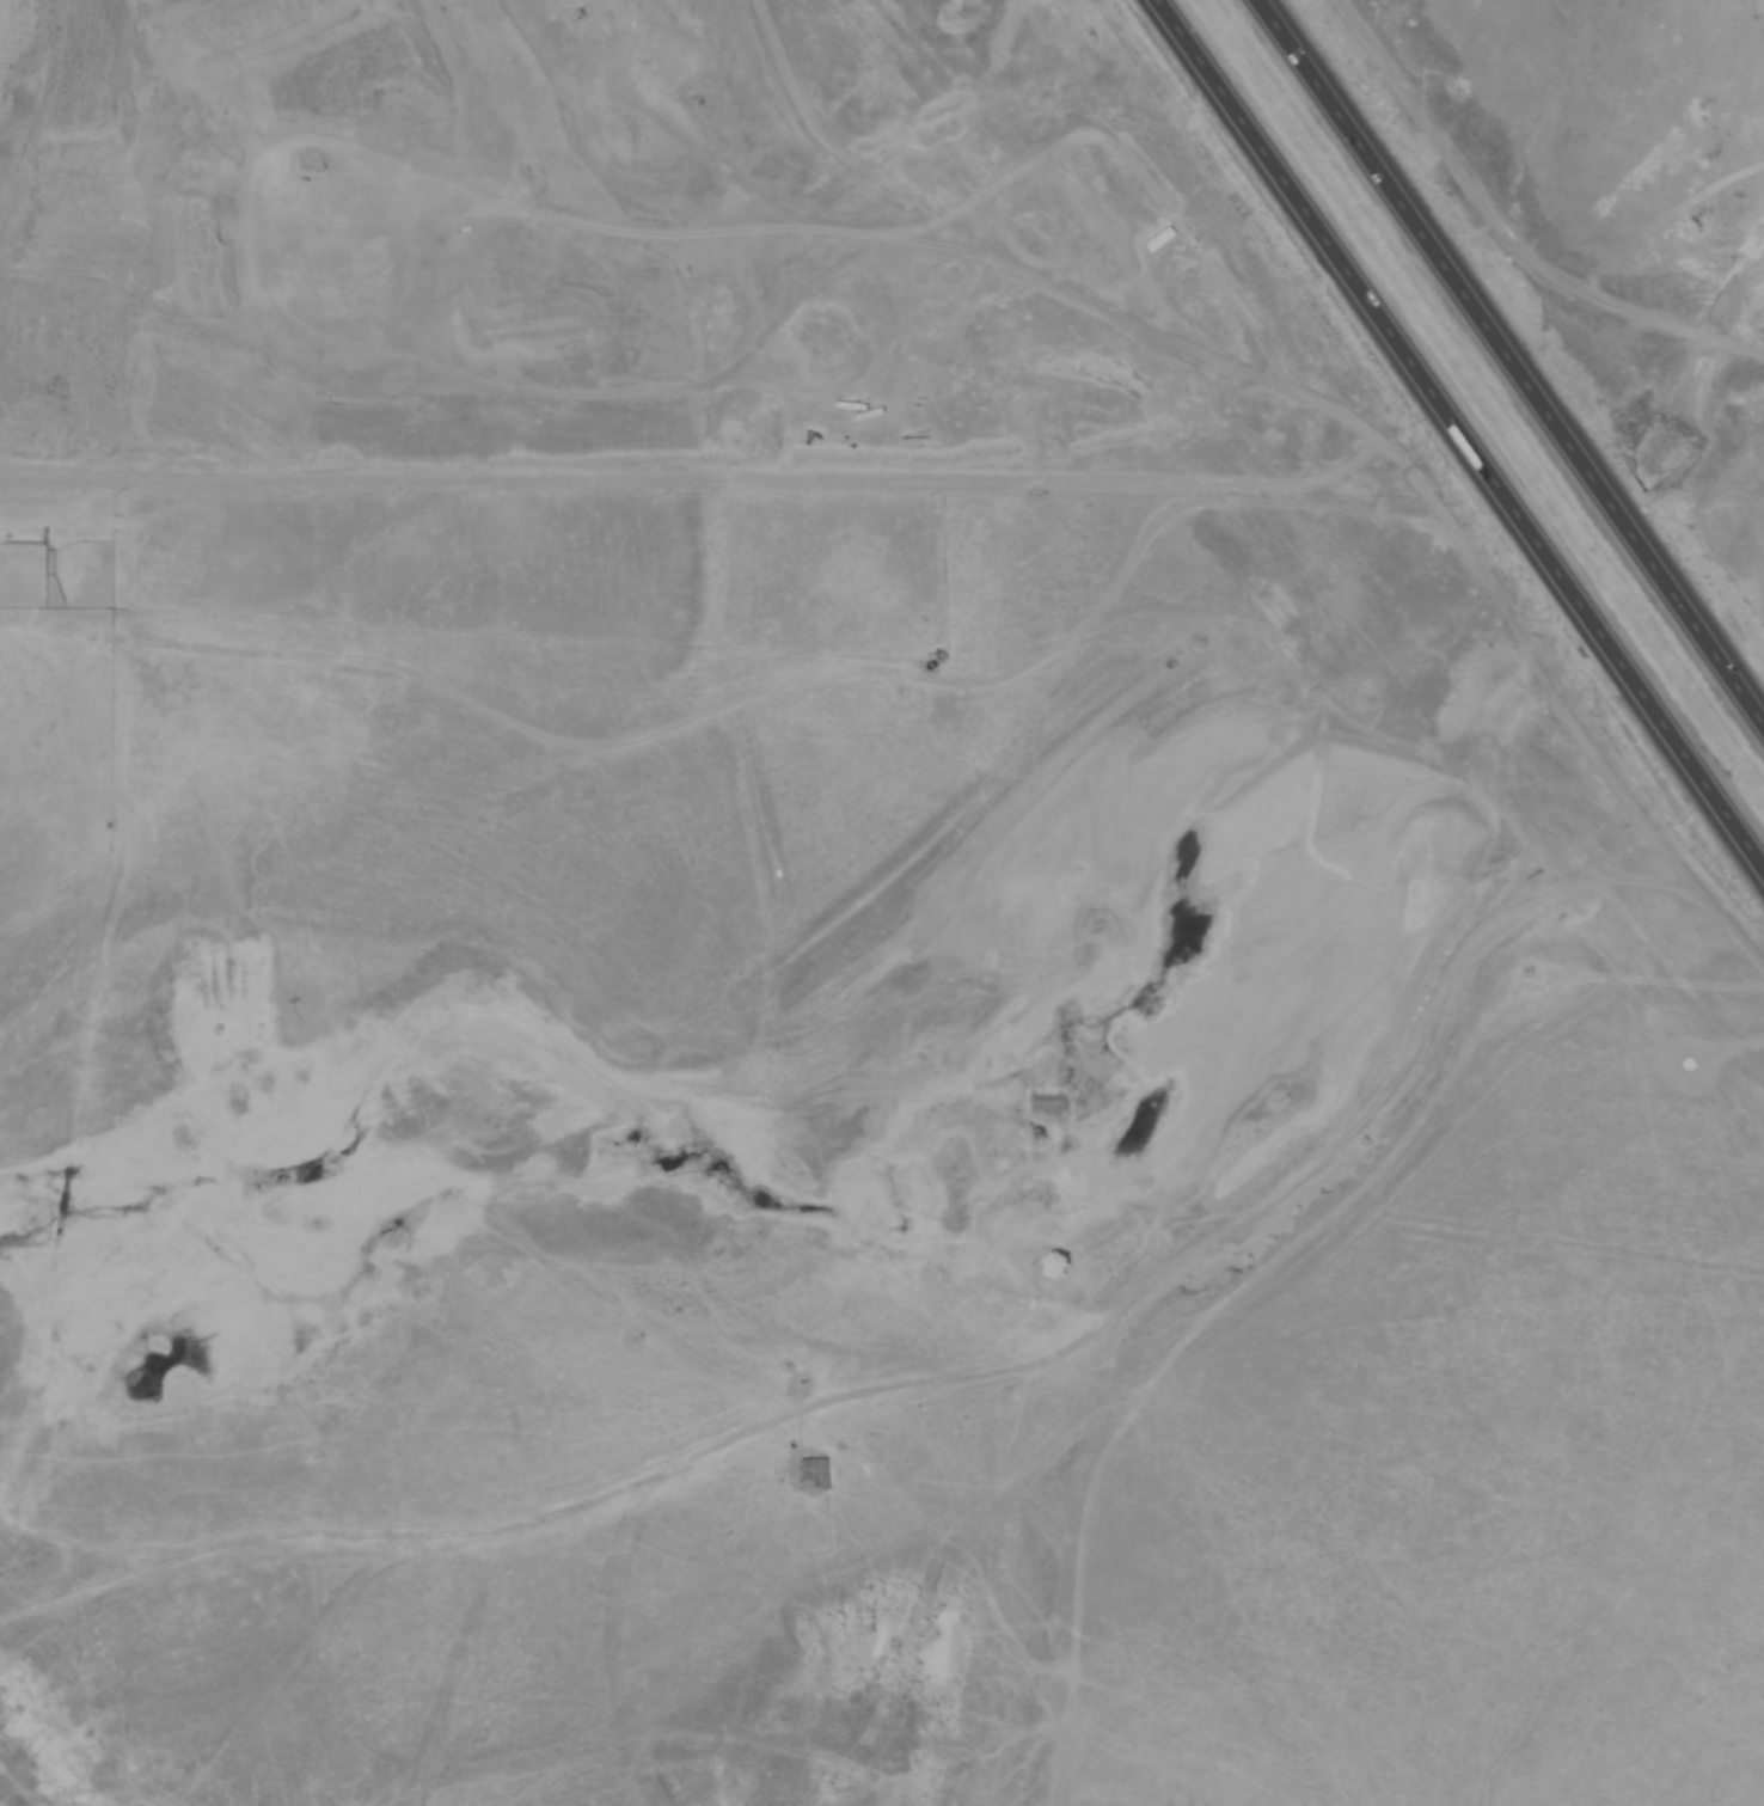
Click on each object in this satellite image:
road: (1511, 231)
quarry: (595, 247)
road: (1508, 359)
road: (1454, 430)
road: (1358, 1121)
quarry: (656, 1281)
building: (801, 1468)

